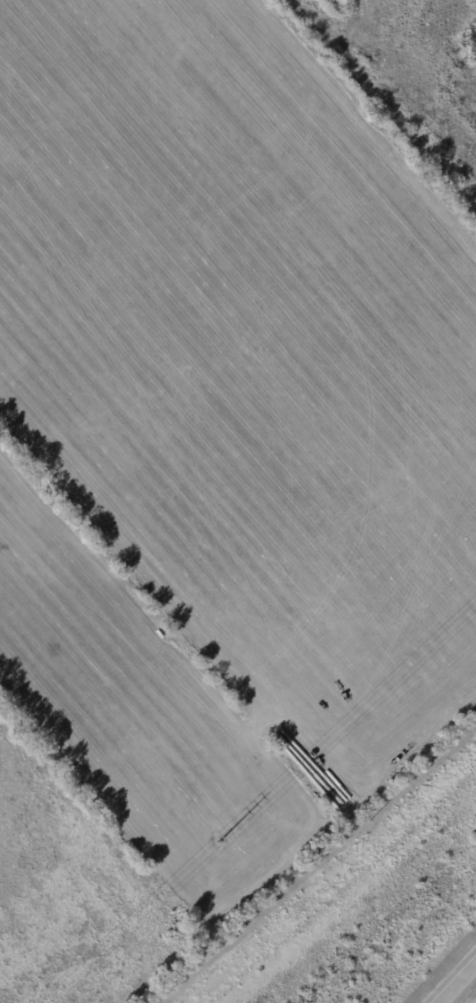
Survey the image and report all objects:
power tower: (219, 839)
road: (459, 984)

